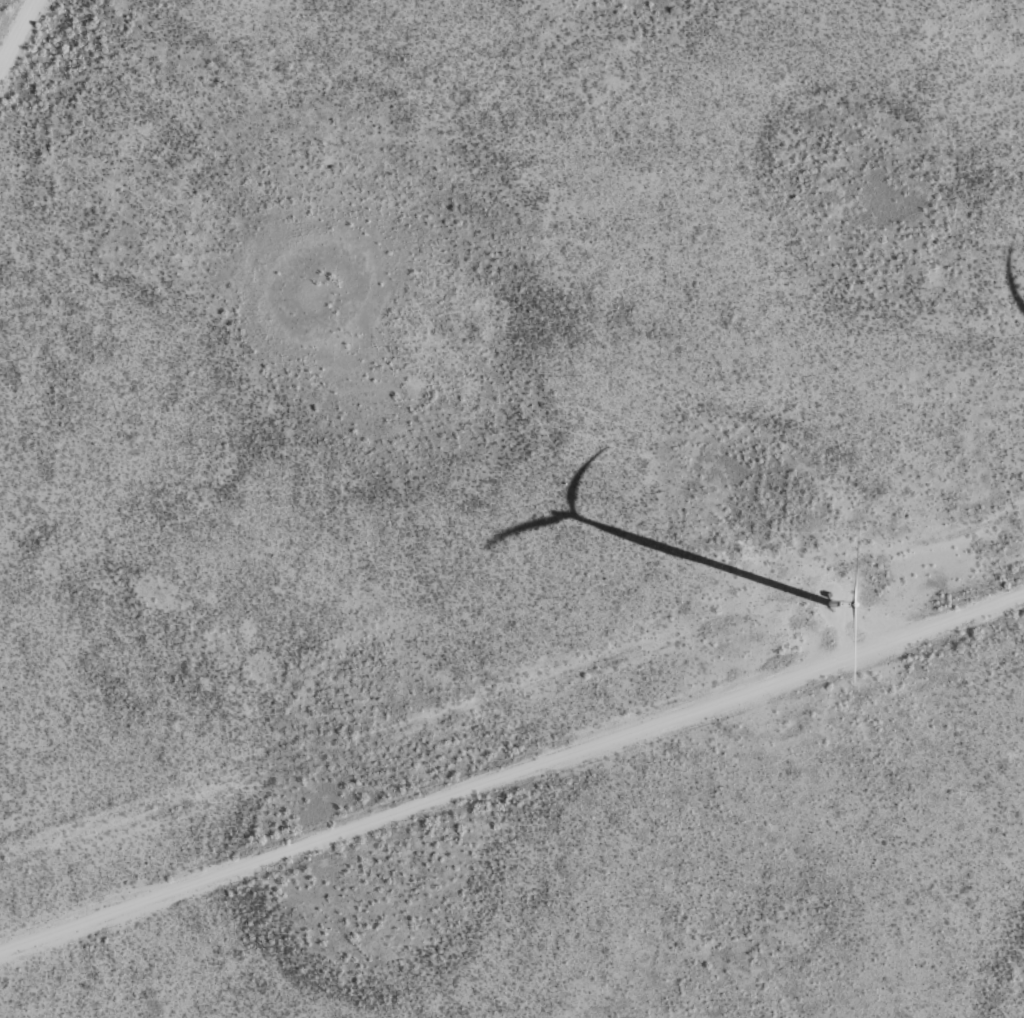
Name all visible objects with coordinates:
wind turbine: (830, 595)

